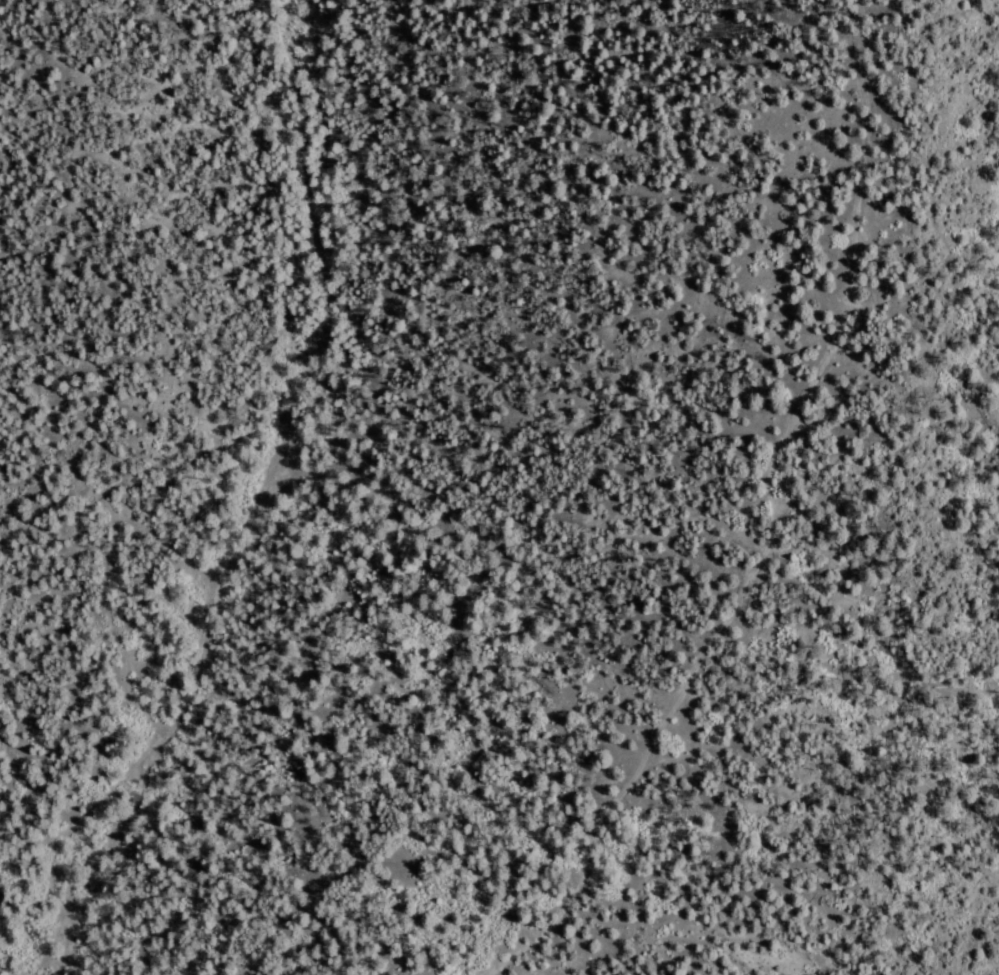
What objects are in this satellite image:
road: (302, 505)
road: (754, 510)

